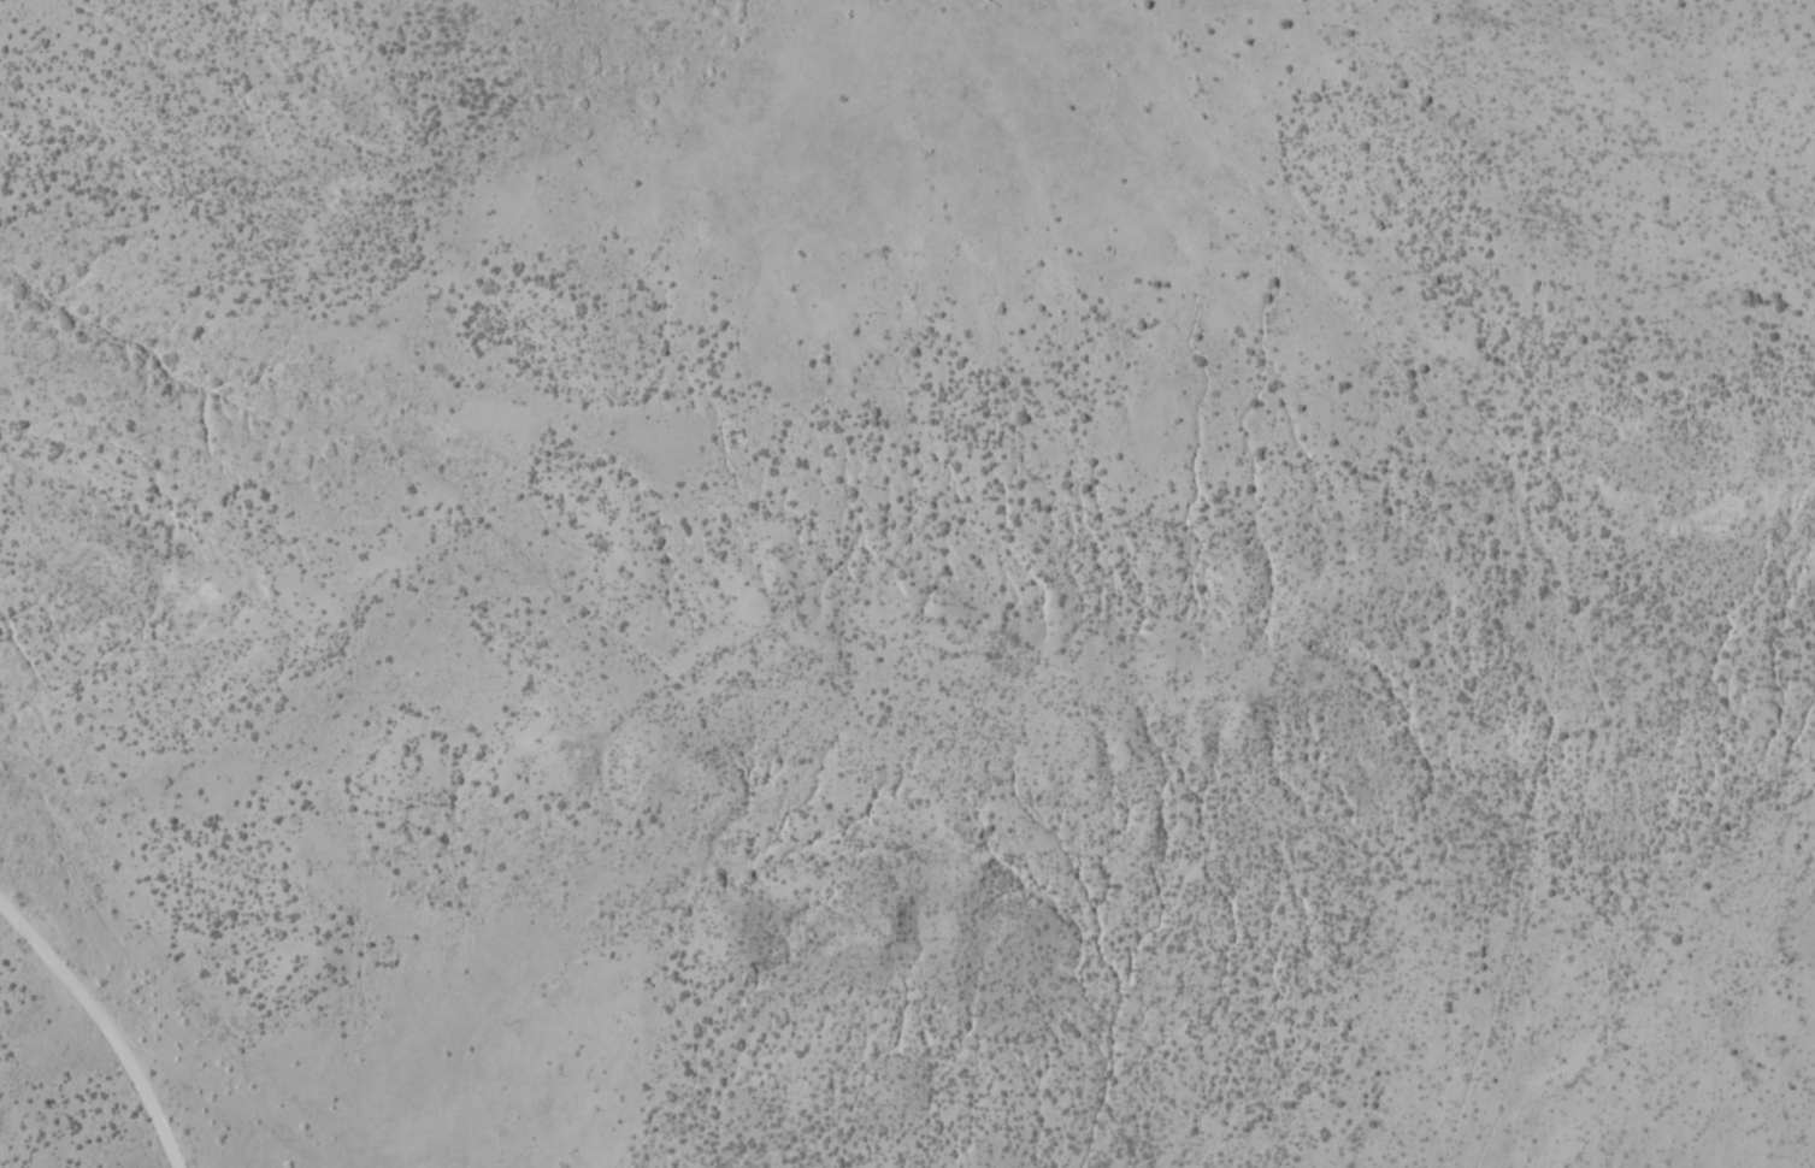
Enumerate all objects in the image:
road: (108, 1021)

